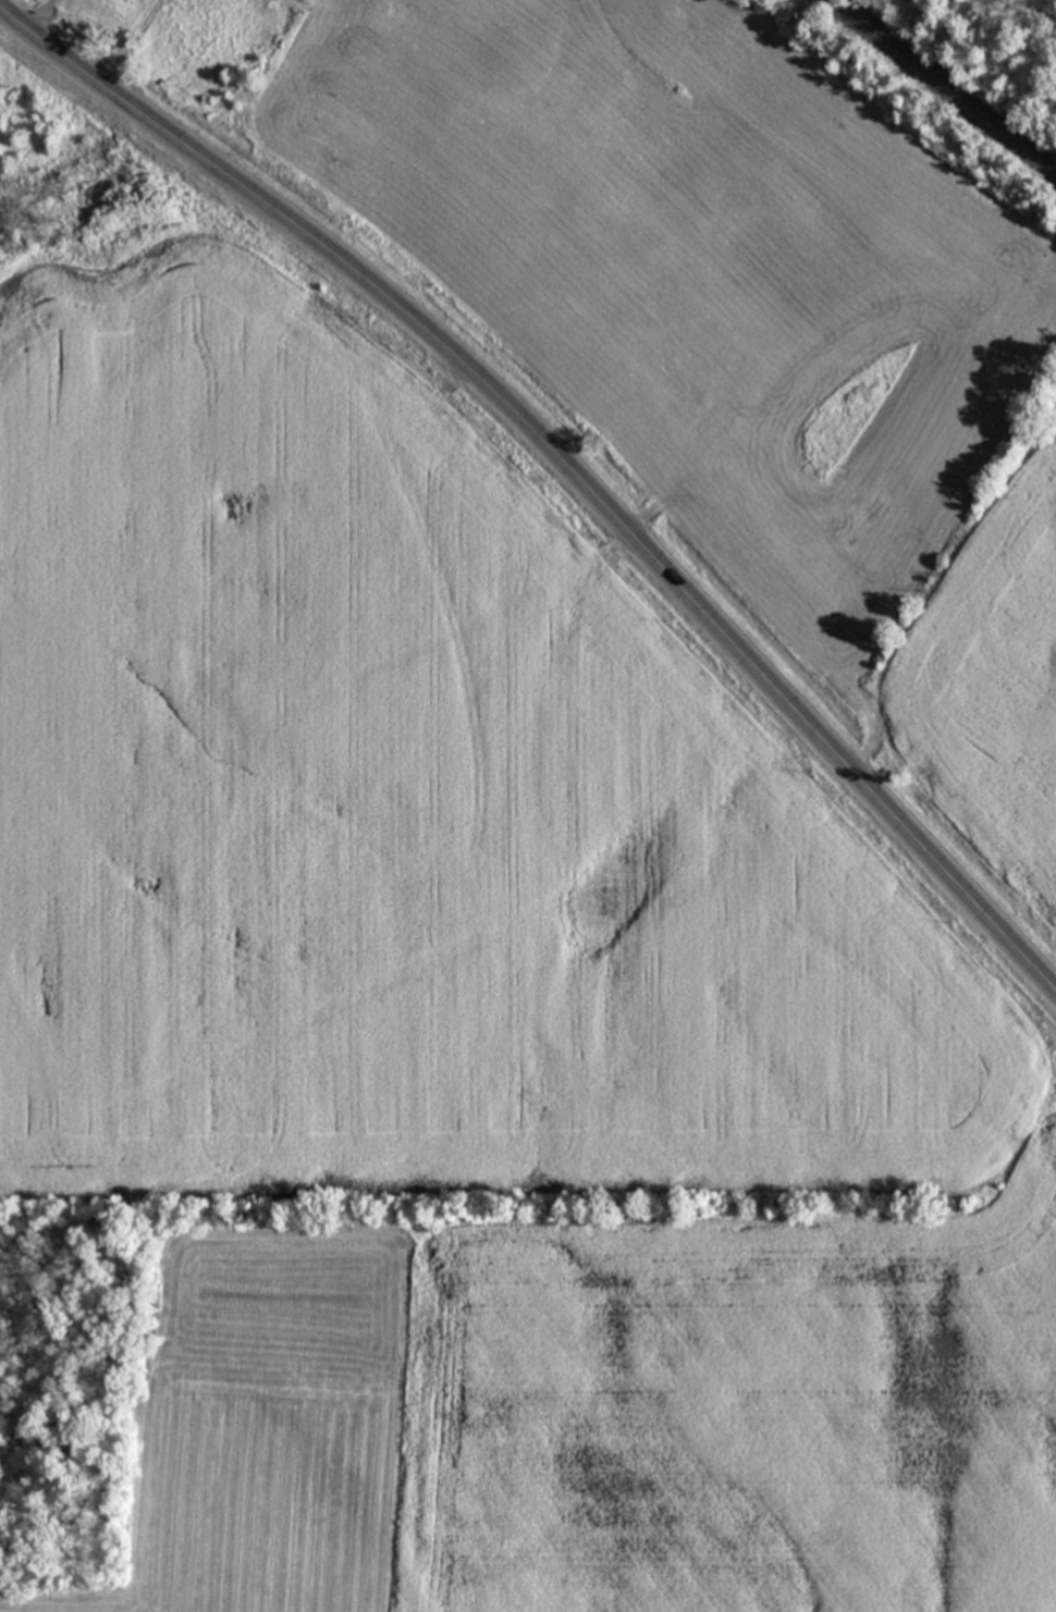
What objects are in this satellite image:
road: (39, 15)
railway: (943, 86)
road: (561, 460)

